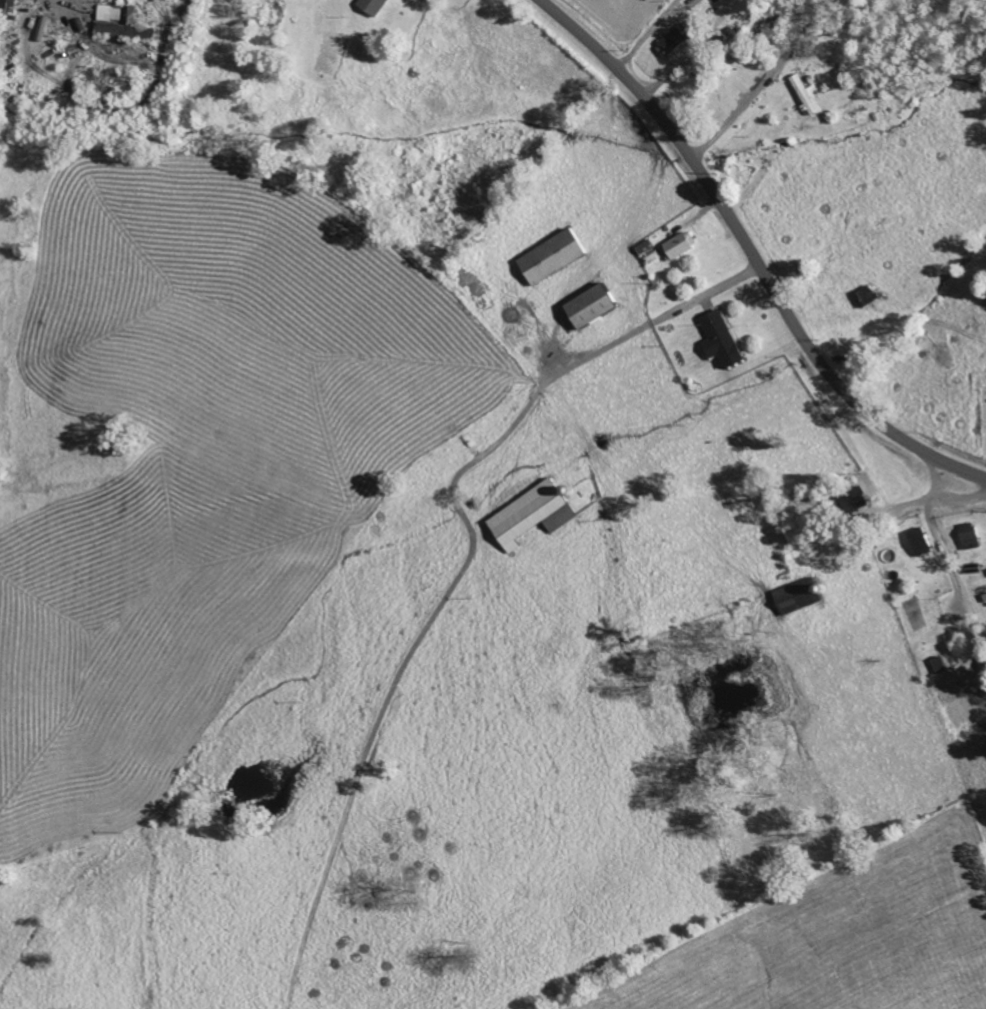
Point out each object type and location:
building: (7, 7)
building: (372, 7)
building: (119, 27)
building: (669, 44)
building: (803, 95)
building: (680, 245)
road: (754, 252)
building: (550, 256)
building: (588, 305)
road: (849, 319)
building: (720, 338)
building: (854, 498)
building: (529, 515)
building: (968, 536)
building: (919, 541)
building: (971, 568)
building: (797, 596)

